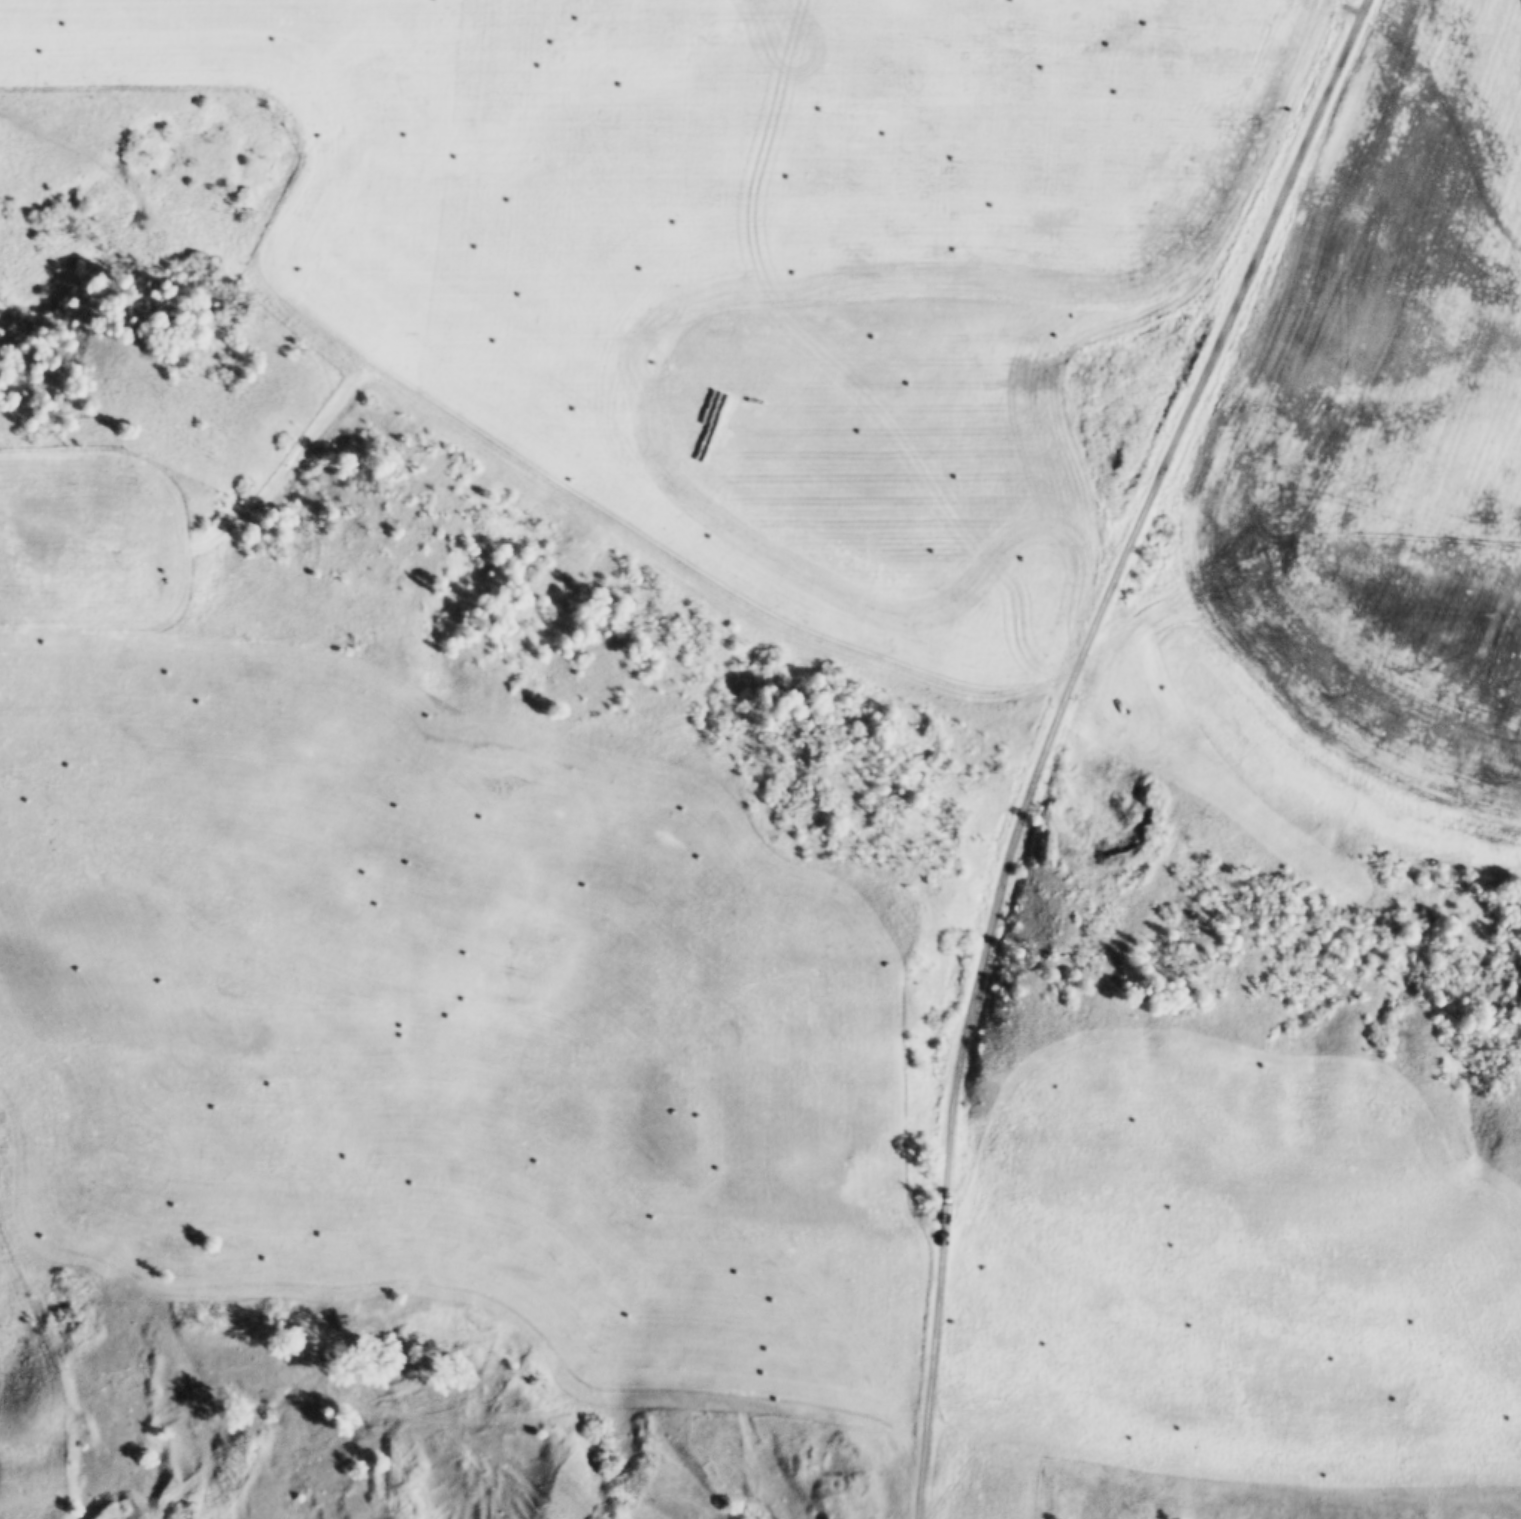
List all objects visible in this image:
road: (1047, 734)
quarry: (408, 1420)

